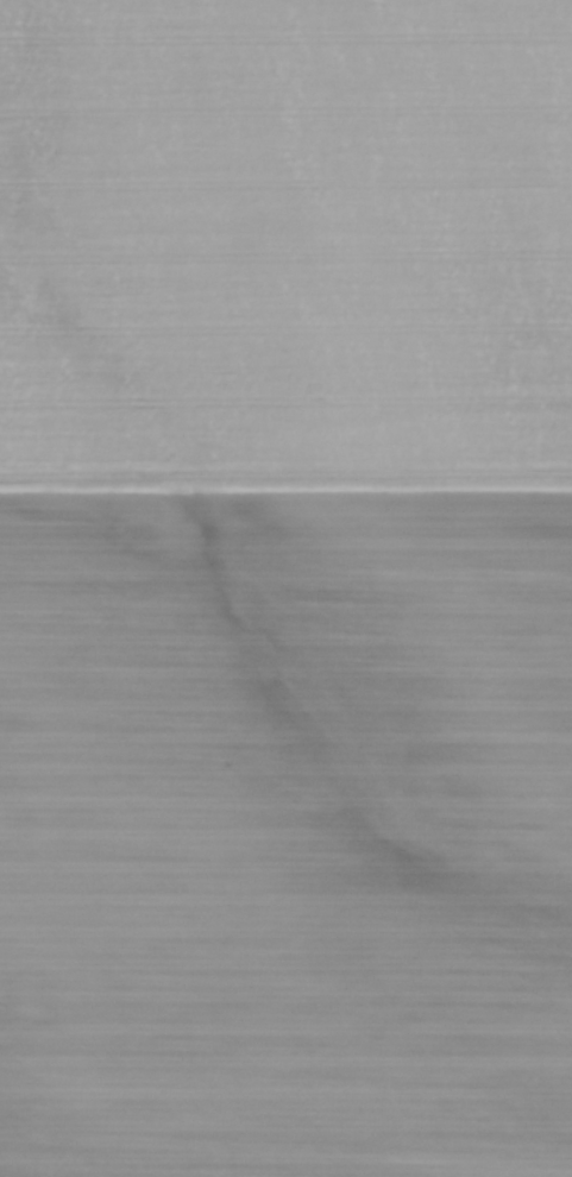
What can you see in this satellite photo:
crop: (285, 588)

